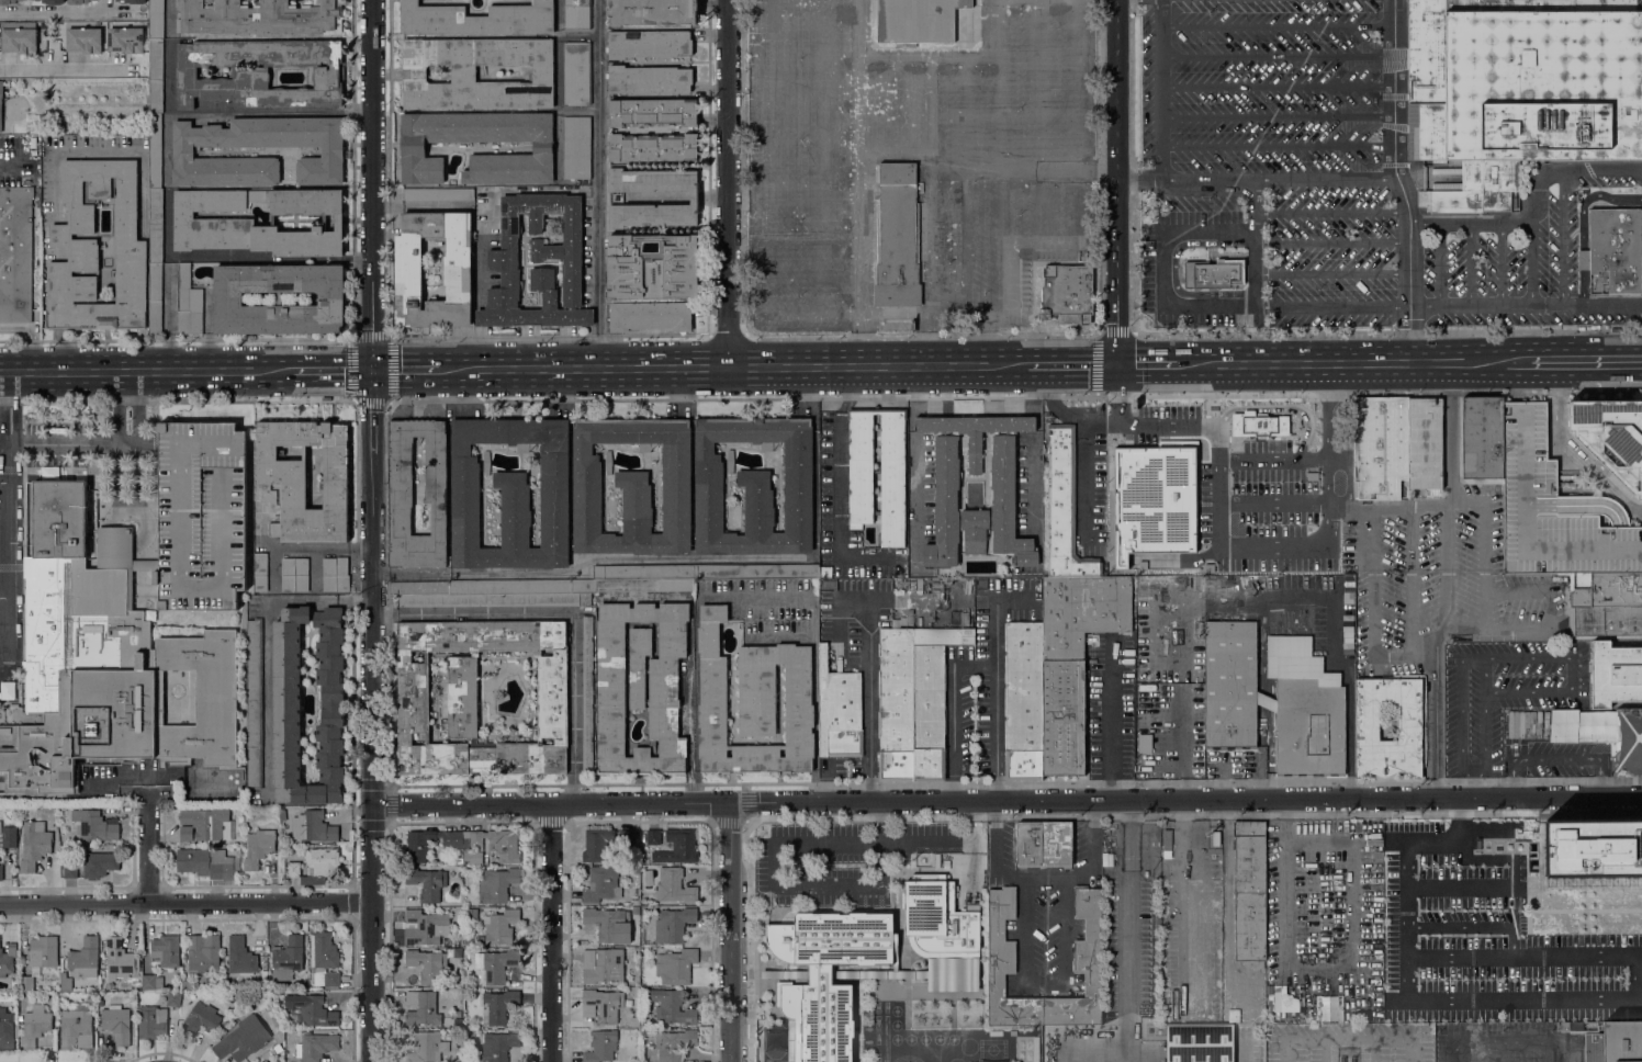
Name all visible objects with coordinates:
building: (15, 1)
building: (54, 1)
building: (75, 1)
building: (127, 1)
building: (1458, 5)
road: (66, 10)
building: (652, 11)
building: (576, 14)
building: (259, 16)
building: (156, 19)
building: (476, 19)
building: (915, 20)
building: (79, 24)
road: (1277, 26)
building: (125, 38)
building: (19, 39)
building: (83, 39)
building: (648, 44)
road: (1277, 57)
road: (64, 67)
building: (259, 71)
building: (576, 72)
building: (463, 74)
building: (1415, 75)
building: (155, 76)
building: (648, 79)
road: (1027, 82)
road: (752, 83)
road: (1277, 86)
road: (1159, 89)
building: (1522, 90)
building: (0, 102)
road: (167, 110)
road: (270, 112)
building: (653, 112)
road: (1277, 115)
road: (809, 116)
parking lot: (1279, 143)
road: (1277, 146)
building: (413, 147)
building: (576, 147)
building: (653, 147)
building: (155, 149)
building: (335, 152)
building: (1538, 159)
road: (13, 165)
road: (1566, 169)
road: (1138, 178)
road: (1278, 179)
building: (654, 180)
road: (1399, 181)
road: (1117, 182)
road: (730, 183)
road: (373, 184)
road: (599, 184)
building: (438, 193)
road: (1587, 196)
building: (38, 197)
road: (747, 197)
road: (765, 206)
road: (1331, 212)
building: (654, 214)
building: (213, 222)
road: (1470, 222)
building: (155, 225)
road: (859, 228)
building: (897, 236)
road: (1253, 241)
road: (1331, 242)
building: (97, 249)
building: (1615, 250)
building: (15, 253)
road: (1583, 259)
building: (502, 260)
road: (1530, 262)
building: (652, 265)
road: (1163, 267)
building: (457, 270)
parking lot: (1160, 271)
road: (1331, 273)
building: (1213, 274)
road: (1583, 285)
building: (1067, 293)
building: (155, 297)
building: (229, 301)
building: (188, 303)
road: (1552, 303)
road: (1601, 303)
road: (1331, 305)
building: (651, 315)
road: (1385, 331)
road: (1099, 348)
road: (1352, 363)
road: (1586, 363)
road: (1076, 365)
traffic signals: (1117, 365)
road: (1146, 365)
road: (882, 366)
road: (693, 368)
road: (334, 369)
traffic signals: (369, 369)
road: (404, 369)
road: (547, 369)
road: (149, 370)
road: (814, 382)
road: (673, 393)
road: (1227, 395)
road: (599, 397)
road: (370, 410)
road: (1088, 418)
road: (1451, 434)
building: (1482, 437)
building: (1611, 437)
building: (1424, 443)
road: (74, 445)
building: (1381, 448)
road: (1574, 449)
road: (1272, 463)
building: (400, 471)
building: (892, 471)
building: (305, 478)
road: (1087, 483)
road: (840, 484)
building: (754, 486)
building: (632, 487)
building: (510, 494)
building: (1158, 494)
building: (1003, 497)
road: (1272, 505)
road: (1427, 506)
building: (1066, 509)
building: (1555, 509)
road: (127, 511)
building: (201, 516)
parking lot: (201, 516)
road: (9, 528)
building: (273, 529)
road: (1253, 551)
road: (672, 557)
road: (1484, 567)
road: (1446, 569)
building: (755, 570)
building: (260, 572)
building: (641, 572)
building: (825, 572)
building: (294, 574)
building: (335, 574)
road: (1412, 581)
road: (1372, 583)
building: (643, 584)
building: (521, 586)
building: (418, 587)
building: (1609, 590)
road: (1517, 591)
road: (754, 596)
building: (494, 599)
road: (1550, 609)
road: (563, 615)
building: (1606, 622)
road: (1492, 629)
building: (943, 635)
road: (996, 643)
building: (1072, 658)
road: (1403, 658)
building: (104, 659)
road: (1465, 667)
road: (1574, 674)
building: (1616, 674)
building: (1229, 683)
building: (640, 685)
building: (587, 692)
road: (1530, 692)
building: (413, 697)
road: (868, 698)
building: (1023, 700)
building: (255, 703)
building: (753, 703)
building: (896, 703)
building: (286, 704)
building: (839, 710)
building: (929, 712)
road: (1432, 714)
building: (10, 715)
building: (1306, 716)
building: (1367, 721)
road: (1484, 721)
road: (1110, 722)
building: (1527, 723)
building: (1582, 725)
building: (1199, 726)
road: (996, 733)
road: (953, 735)
building: (1630, 741)
building: (1143, 744)
road: (372, 757)
road: (1552, 760)
building: (1270, 767)
road: (1472, 789)
building: (233, 792)
road: (1006, 800)
building: (292, 807)
building: (281, 814)
road: (1489, 821)
building: (204, 824)
building: (93, 825)
building: (0, 826)
building: (313, 826)
building: (9, 836)
building: (626, 837)
building: (653, 837)
building: (452, 838)
building: (34, 844)
building: (494, 844)
building: (596, 844)
building: (1056, 844)
building: (419, 845)
building: (1028, 845)
building: (678, 847)
building: (257, 848)
building: (1593, 848)
road: (149, 856)
building: (459, 860)
building: (99, 863)
building: (209, 863)
building: (315, 865)
building: (70, 870)
building: (1, 872)
road: (1403, 874)
road: (1022, 879)
road: (1046, 880)
building: (1593, 882)
building: (427, 883)
building: (496, 884)
building: (601, 884)
road: (1453, 885)
building: (674, 886)
road: (796, 888)
building: (1250, 891)
road: (1065, 896)
road: (187, 904)
road: (1283, 910)
building: (470, 913)
building: (605, 922)
road: (1454, 923)
building: (673, 924)
building: (501, 926)
building: (424, 927)
road: (550, 931)
road: (729, 931)
building: (942, 933)
building: (480, 939)
building: (166, 950)
building: (43, 951)
building: (203, 953)
road: (1581, 956)
building: (240, 957)
road: (1461, 957)
building: (288, 958)
building: (83, 959)
building: (324, 959)
building: (7, 960)
building: (122, 962)
road: (1129, 962)
building: (427, 964)
building: (496, 964)
building: (676, 965)
building: (1005, 965)
building: (605, 968)
building: (1081, 968)
building: (263, 975)
building: (826, 975)
building: (26, 982)
building: (65, 982)
building: (150, 982)
building: (458, 983)
building: (187, 984)
building: (112, 985)
building: (1285, 997)
building: (89, 999)
building: (173, 999)
road: (1522, 1001)
building: (100, 1003)
building: (1329, 1003)
building: (601, 1004)
building: (498, 1005)
building: (672, 1007)
building: (421, 1008)
building: (312, 1009)
building: (20, 1018)
building: (200, 1019)
building: (151, 1021)
building: (116, 1023)
building: (458, 1023)
building: (34, 1026)
building: (1562, 1026)
building: (74, 1027)
building: (8, 1029)
building: (248, 1036)
building: (1200, 1042)
building: (1615, 1042)
building: (674, 1044)
building: (315, 1046)
building: (498, 1046)
building: (600, 1046)
building: (426, 1047)
building: (458, 1050)
building: (261, 1061)
building: (457, 1061)

